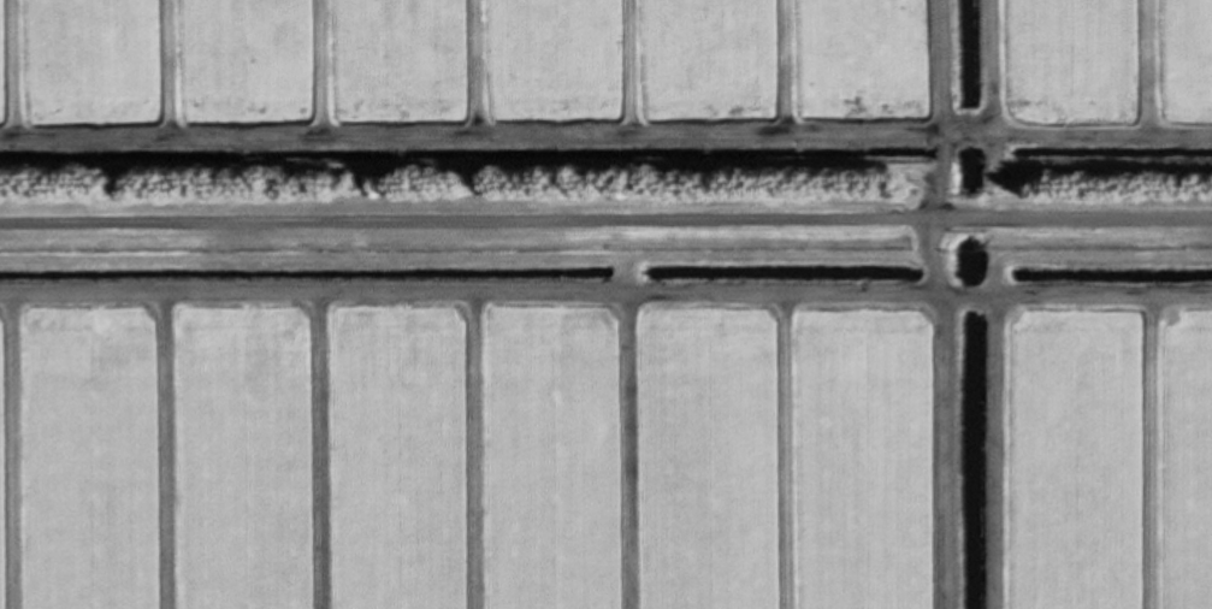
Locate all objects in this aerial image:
road: (605, 225)

